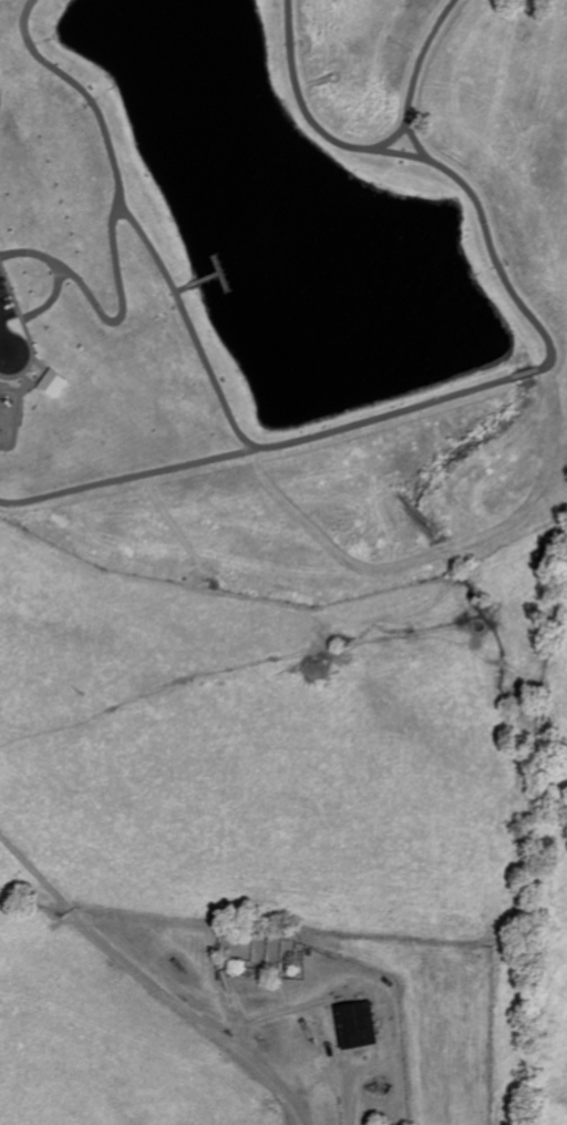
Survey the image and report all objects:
road: (312, 120)
road: (391, 137)
road: (463, 182)
park: (269, 233)
pier: (223, 270)
pier: (205, 278)
road: (182, 288)
road: (28, 314)
road: (105, 314)
road: (196, 335)
road: (6, 339)
road: (526, 372)
building: (53, 382)
road: (128, 475)
road: (155, 976)

